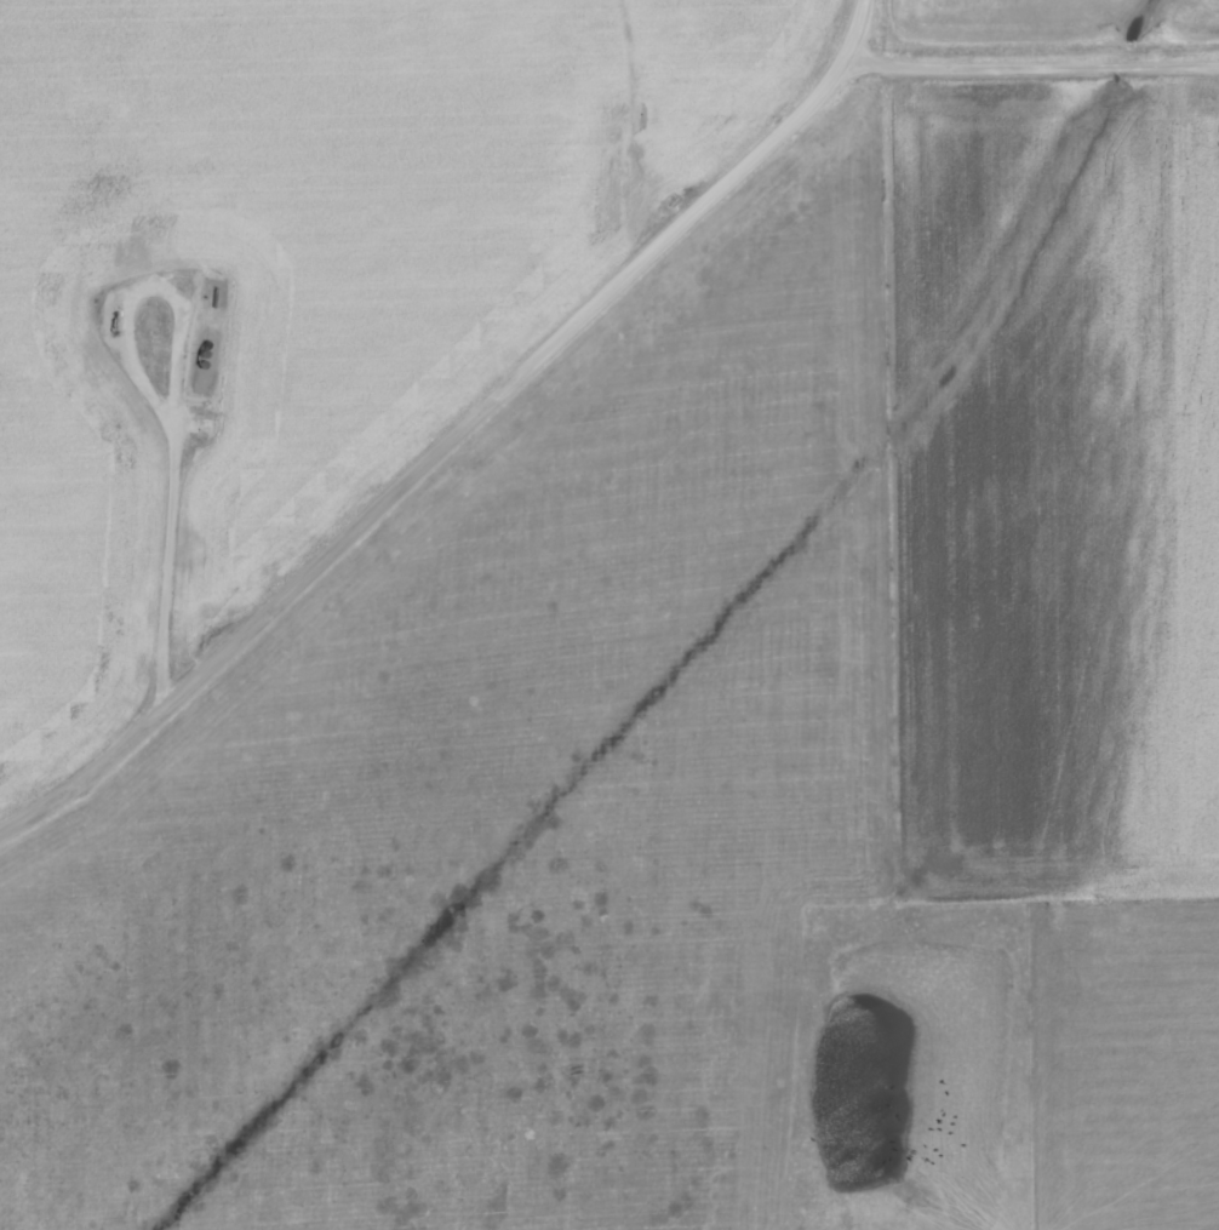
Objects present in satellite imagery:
road: (1032, 61)
petroleum well: (113, 321)
road: (451, 428)

